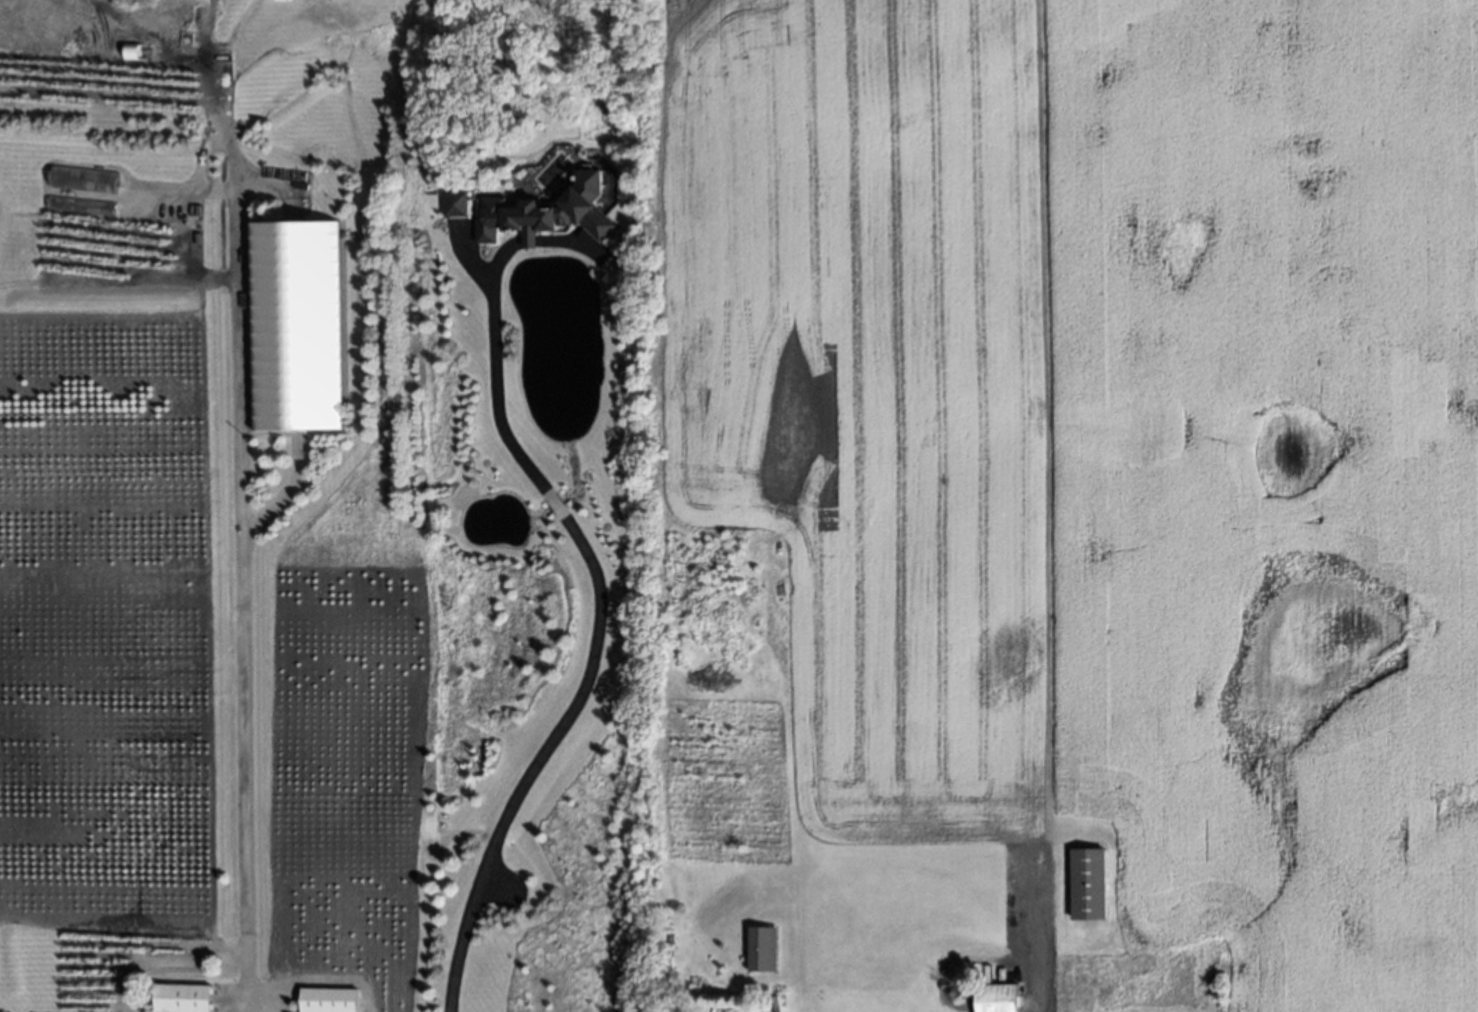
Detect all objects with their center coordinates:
building: (131, 51)
building: (451, 200)
building: (549, 209)
building: (528, 237)
building: (291, 322)
road: (594, 584)
road: (242, 724)
building: (1086, 886)
building: (667, 929)
building: (667, 937)
building: (664, 946)
building: (761, 949)
building: (944, 958)
building: (656, 972)
road: (315, 978)
building: (950, 991)
building: (177, 997)
building: (992, 998)
building: (322, 999)

